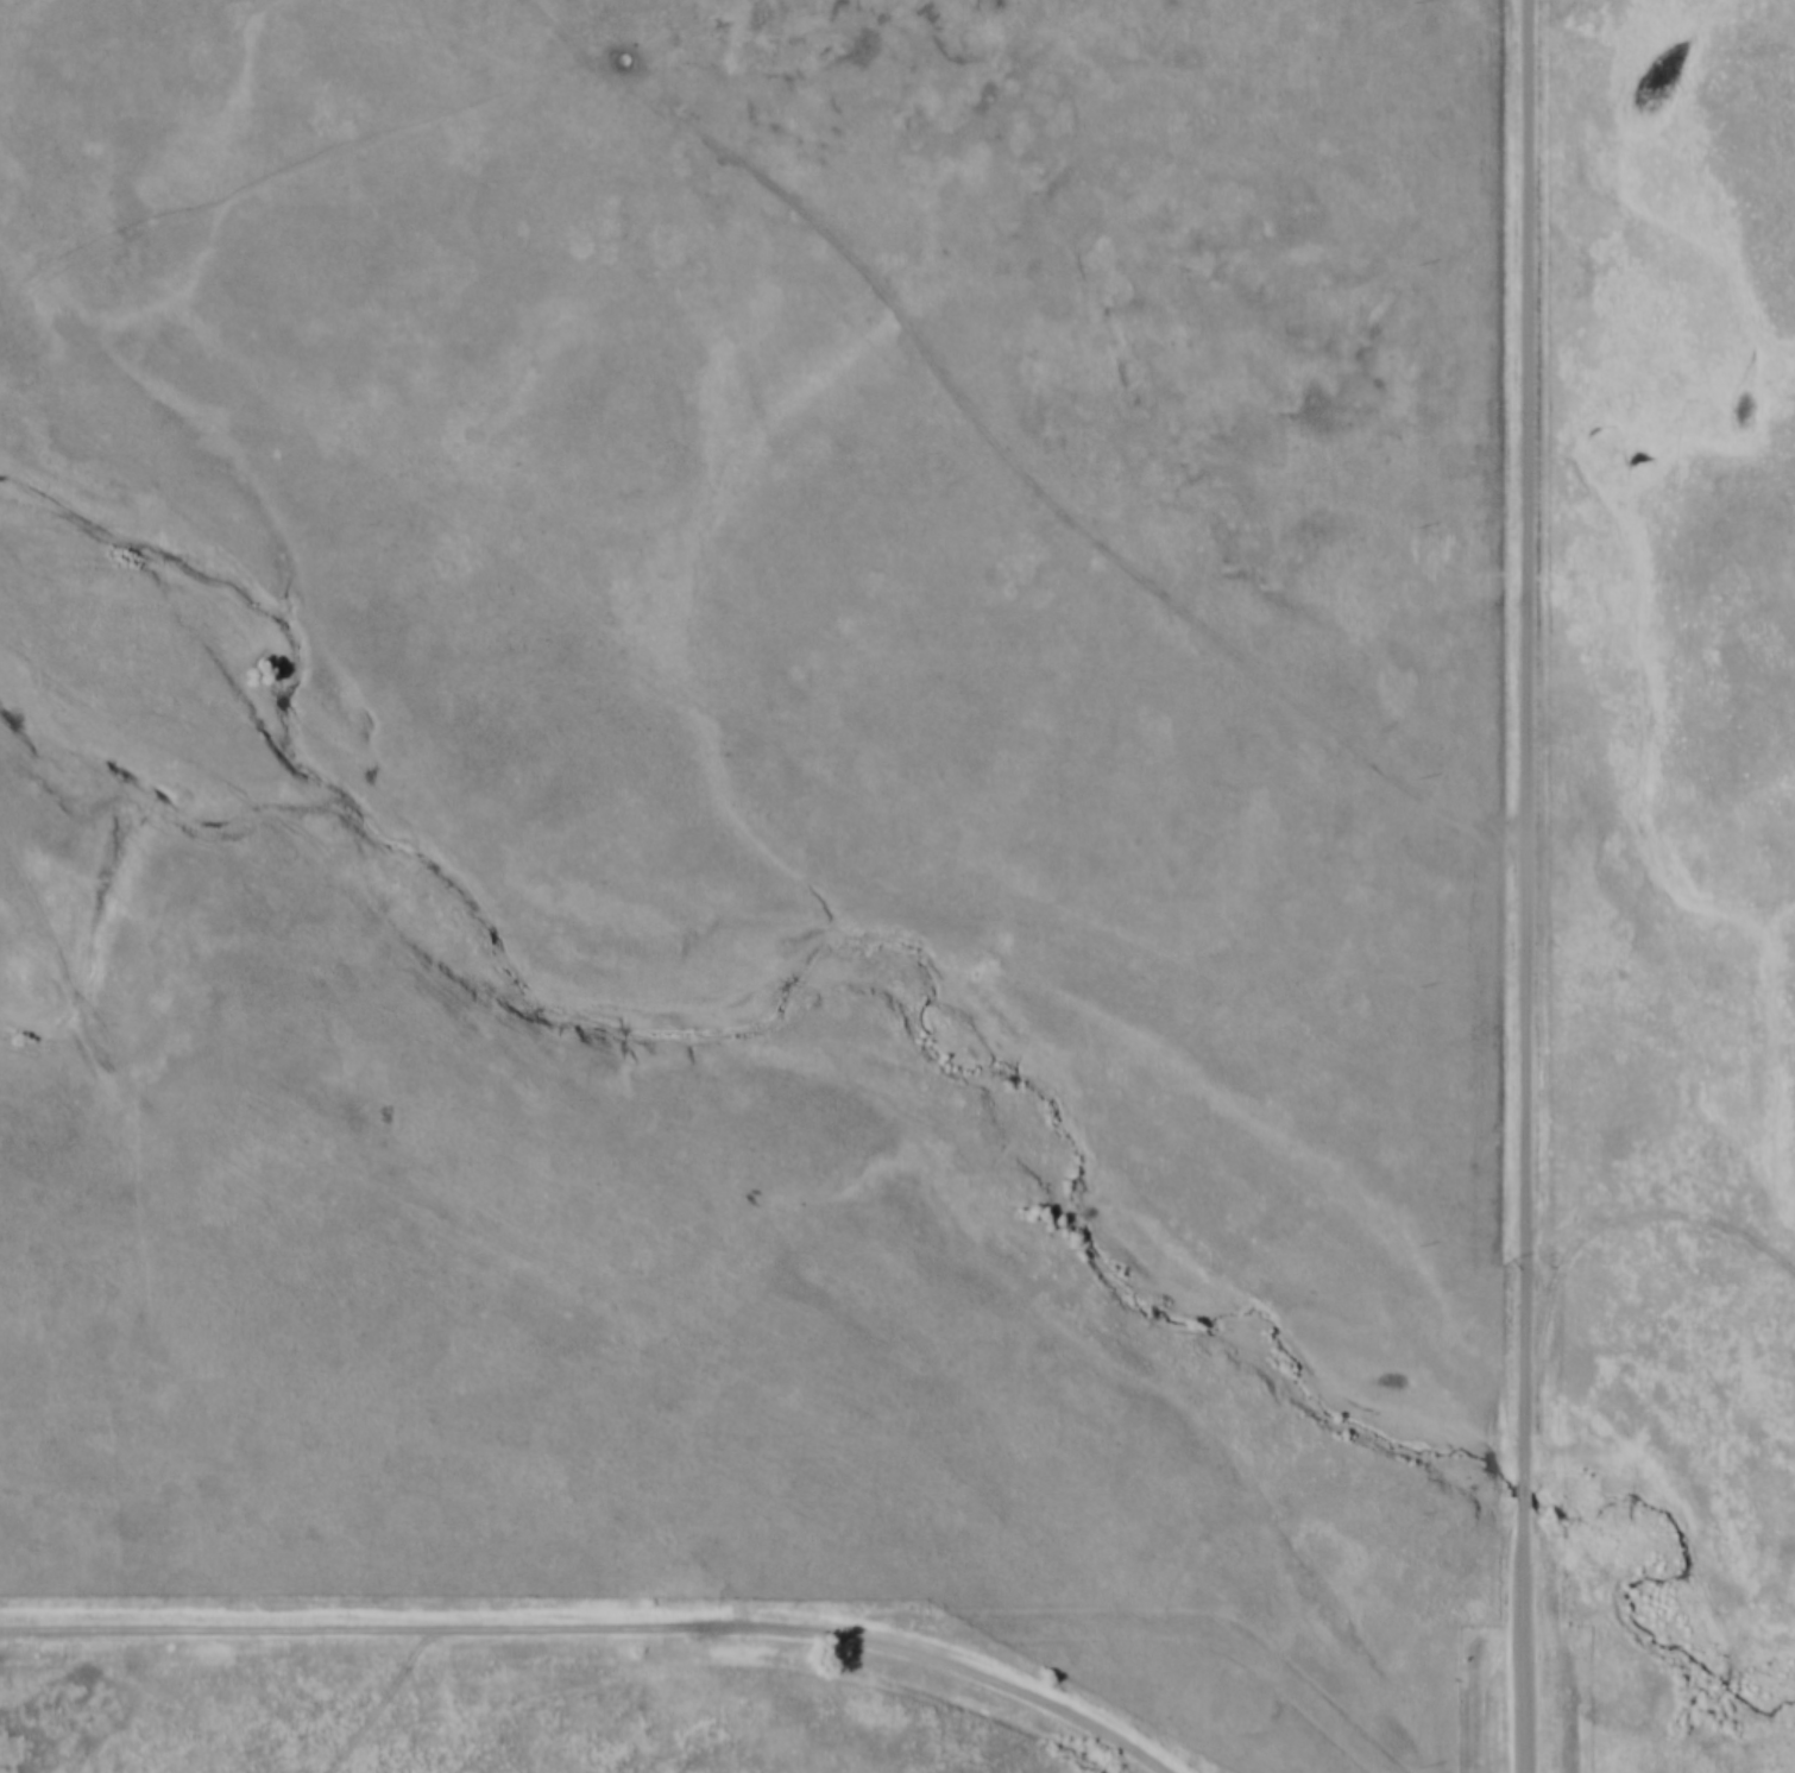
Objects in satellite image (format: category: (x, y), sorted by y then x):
road: (1004, 448)
road: (1531, 732)
road: (1610, 1224)
road: (1525, 1475)
road: (1525, 1629)
road: (591, 1638)
road: (383, 1705)

